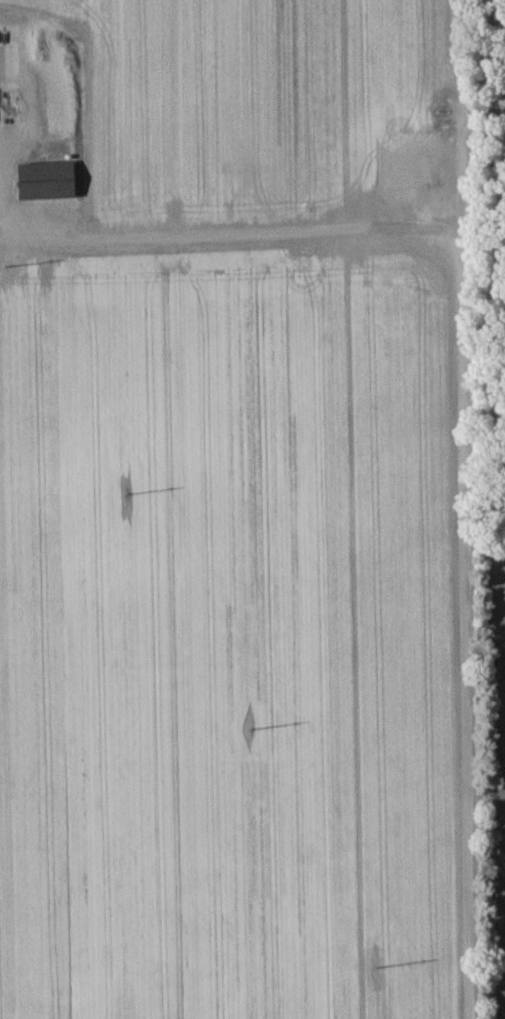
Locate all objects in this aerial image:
building: (49, 183)
road: (461, 399)

